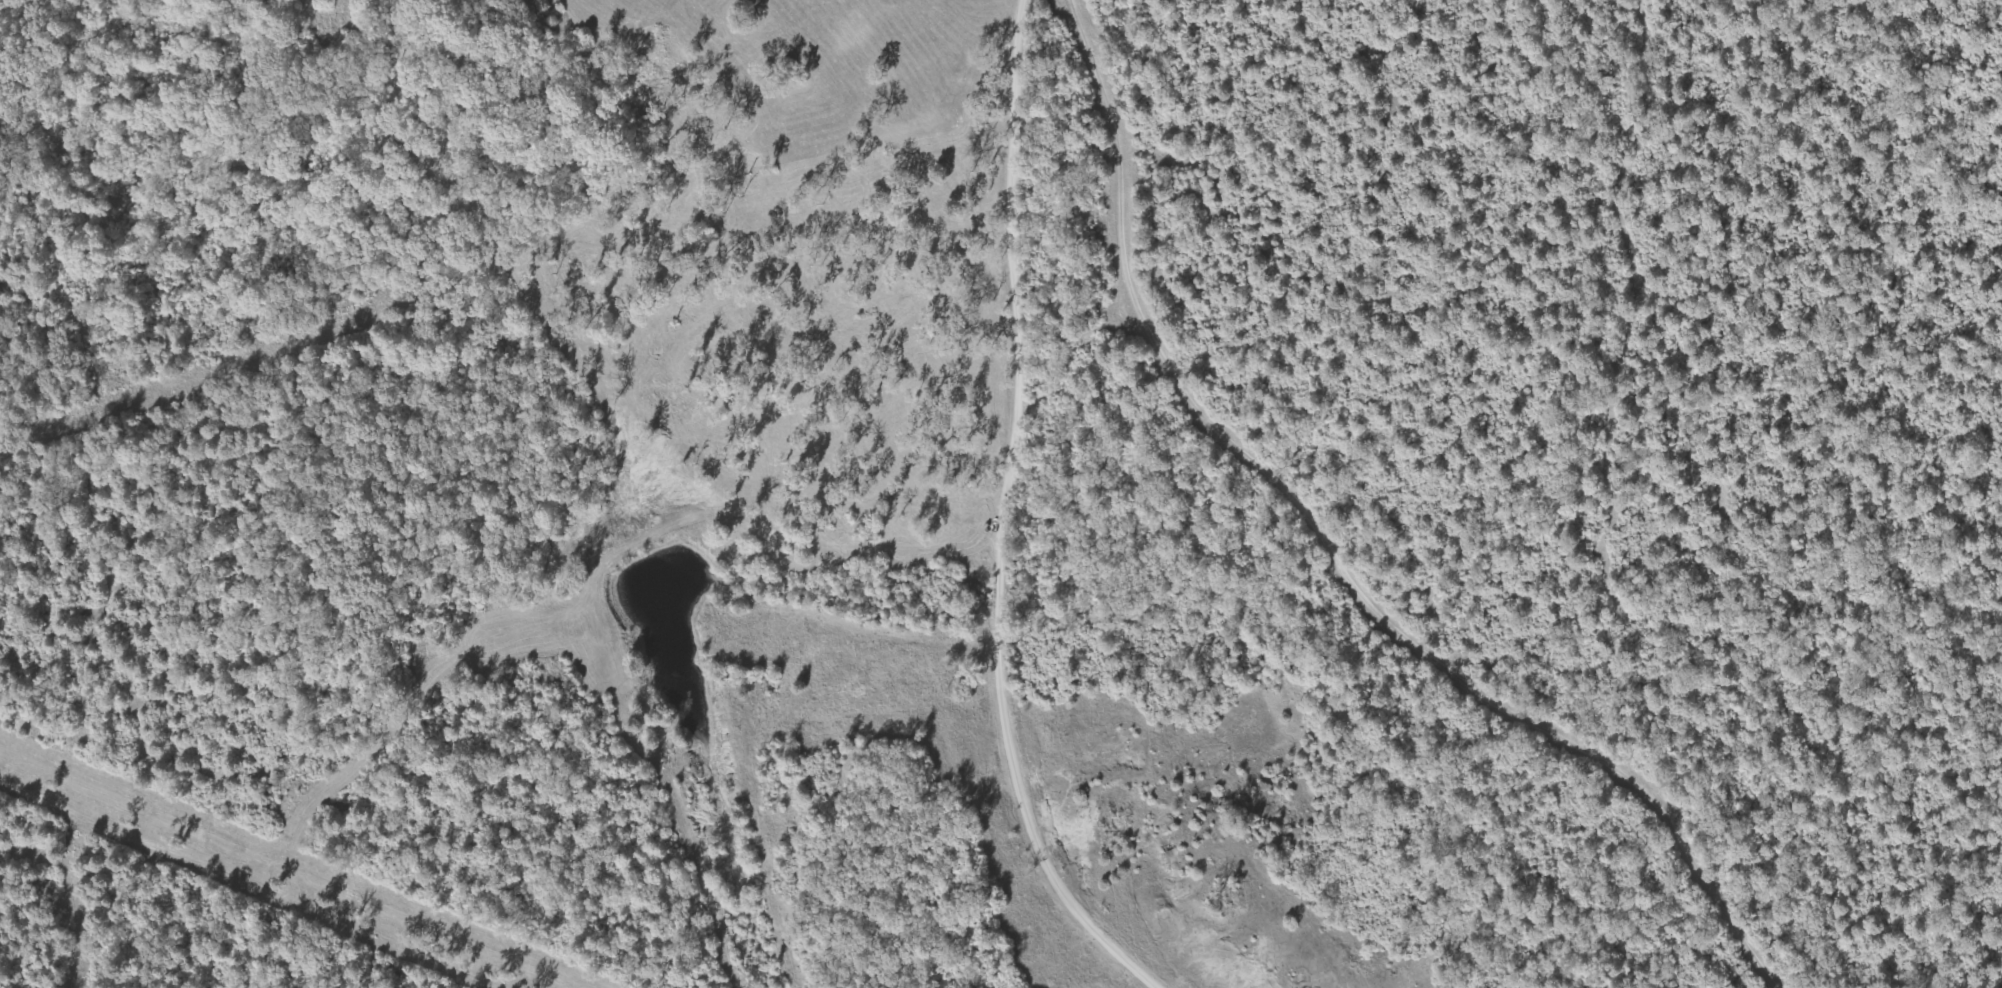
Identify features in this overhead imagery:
road: (1016, 516)

